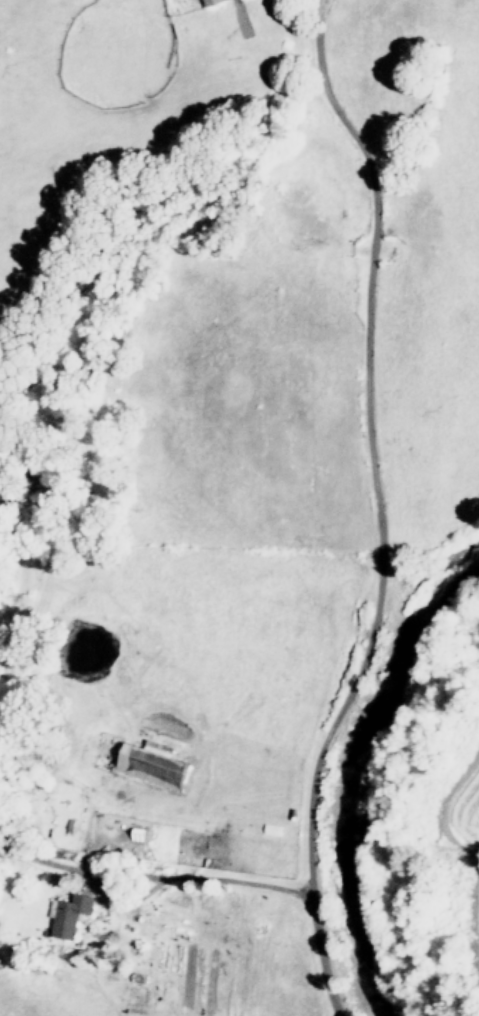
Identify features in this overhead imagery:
building: (216, 2)
road: (383, 508)
building: (7, 716)
road: (193, 876)
building: (72, 917)

